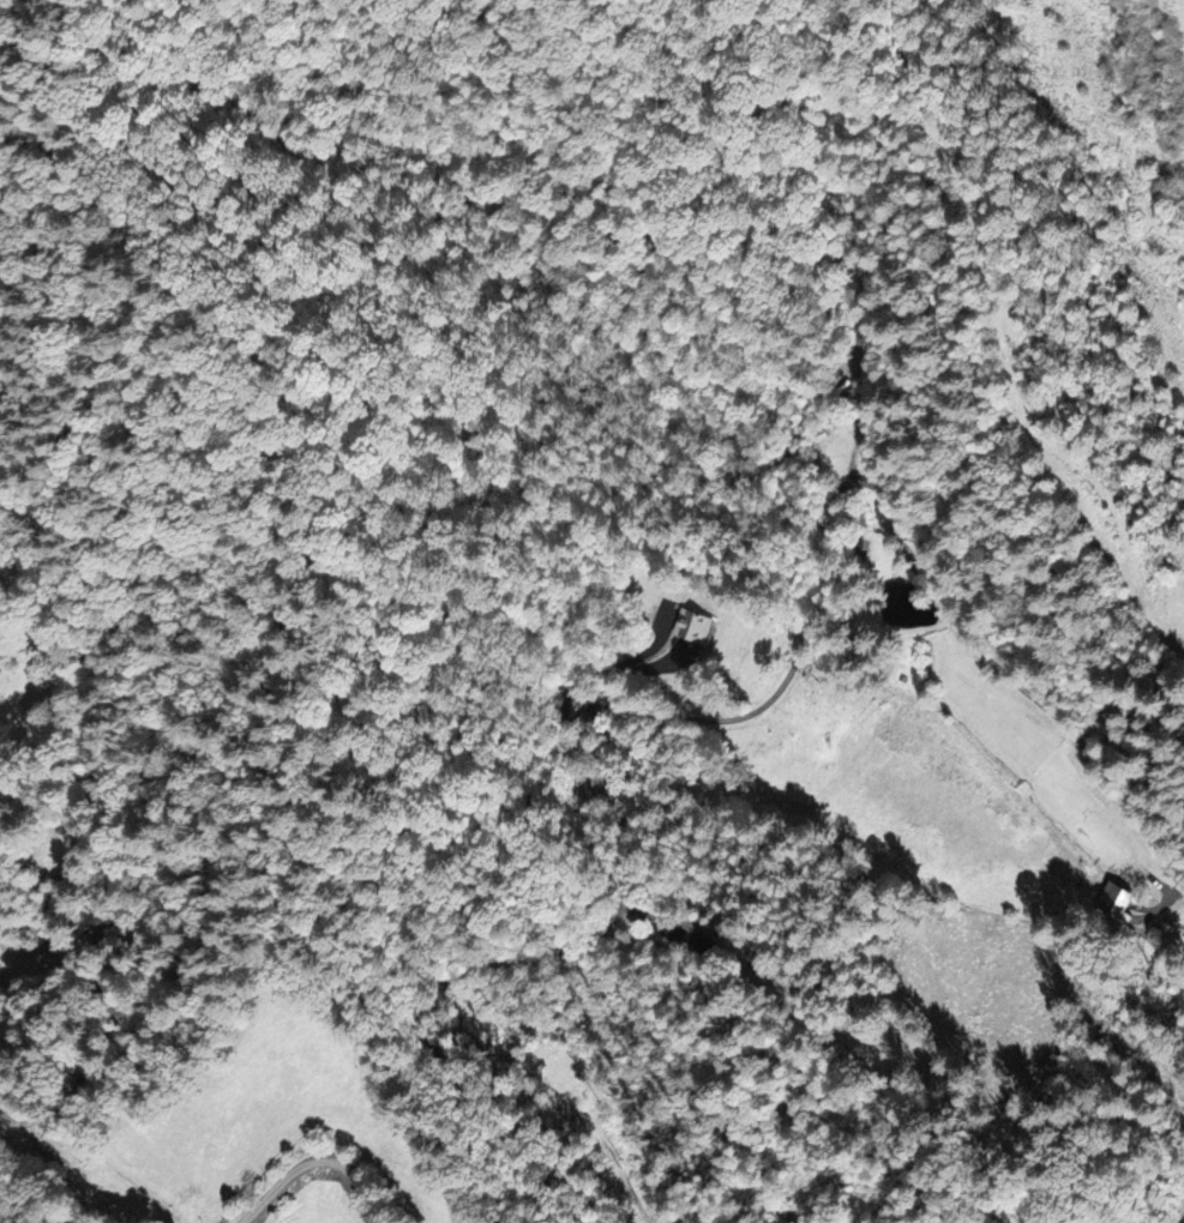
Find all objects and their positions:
road: (900, 517)
building: (693, 625)
road: (600, 675)
building: (1116, 899)
road: (498, 963)
road: (314, 1161)

